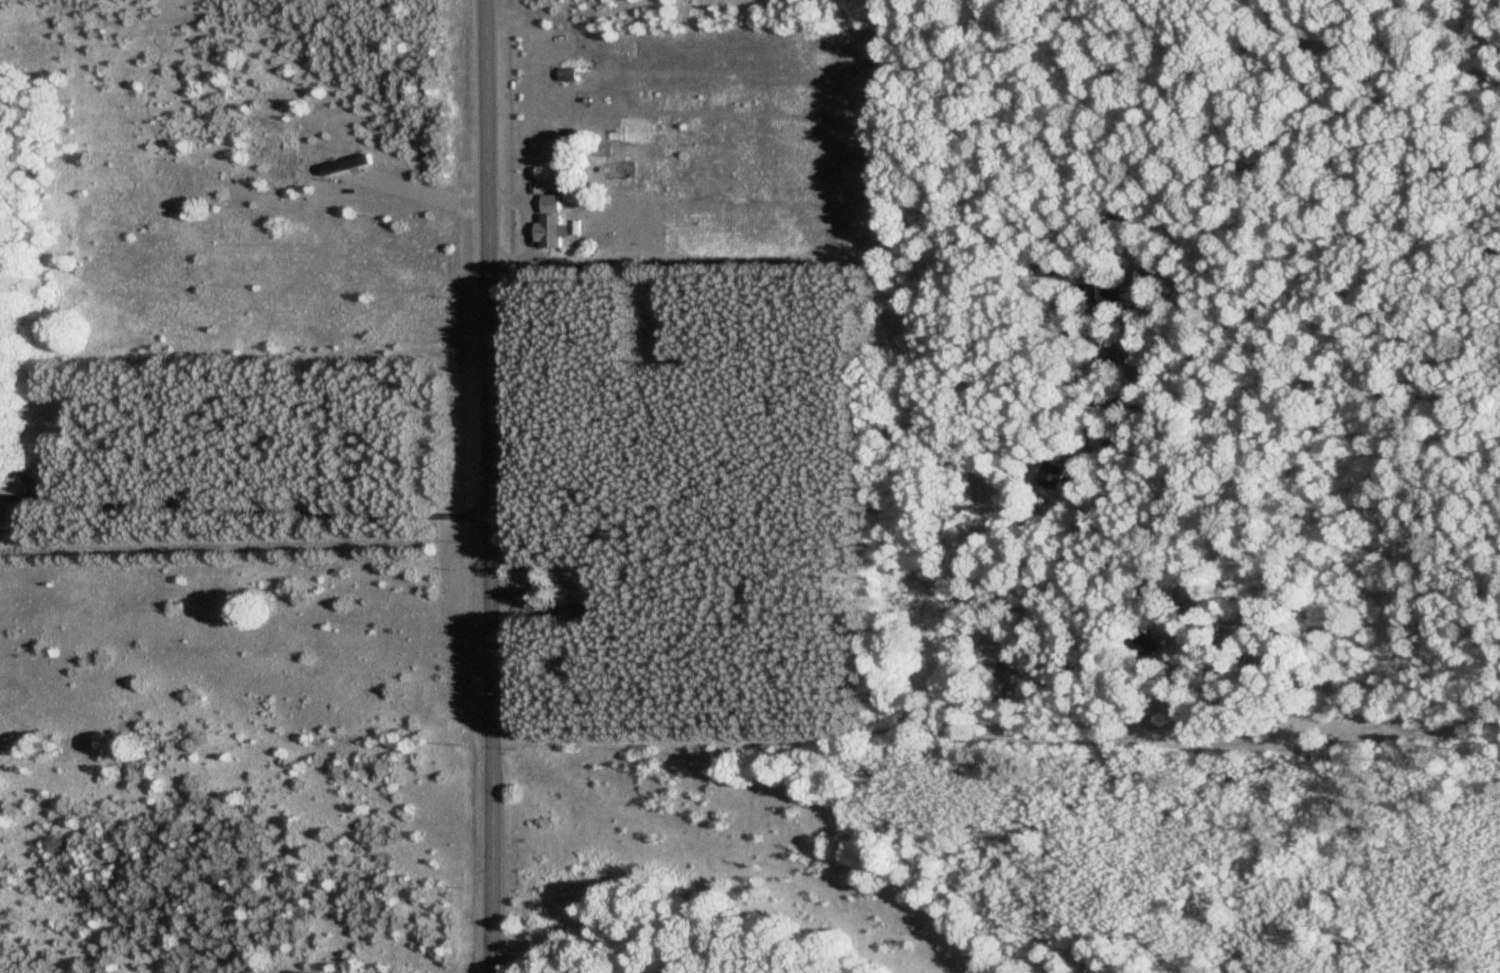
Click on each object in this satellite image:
building: (564, 75)
building: (547, 223)
building: (1093, 293)
building: (1049, 475)
road: (494, 486)
building: (574, 609)
building: (1141, 642)

